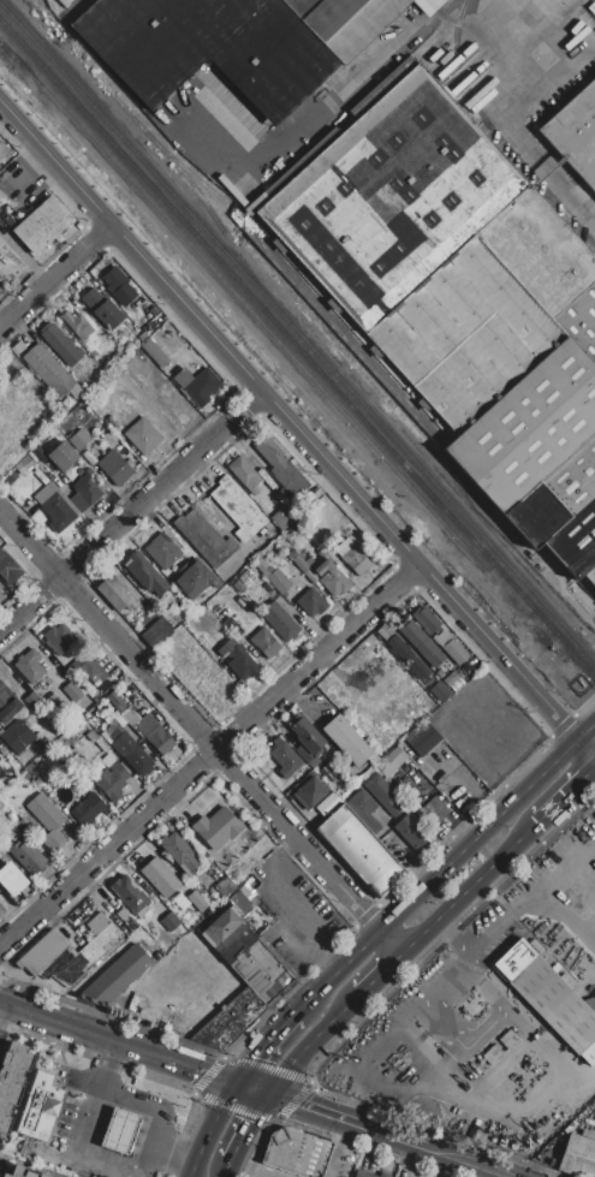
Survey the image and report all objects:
railway: (49, 20)
railway: (401, 52)
building: (245, 67)
road: (554, 82)
railway: (130, 114)
road: (512, 115)
railway: (139, 119)
building: (576, 133)
railway: (495, 135)
building: (41, 225)
road: (53, 273)
building: (114, 279)
railway: (301, 286)
building: (460, 301)
building: (103, 308)
building: (148, 315)
building: (77, 325)
railway: (298, 332)
building: (120, 338)
building: (139, 338)
railway: (275, 338)
building: (60, 344)
railway: (297, 350)
building: (154, 351)
building: (50, 371)
building: (197, 386)
building: (113, 423)
road: (297, 430)
building: (143, 436)
building: (79, 440)
building: (63, 457)
building: (47, 462)
building: (280, 466)
building: (115, 468)
building: (244, 474)
building: (83, 494)
building: (281, 497)
building: (238, 509)
road: (130, 511)
building: (58, 512)
building: (281, 518)
building: (273, 531)
building: (204, 537)
building: (163, 548)
building: (353, 557)
building: (7, 569)
building: (304, 570)
building: (145, 575)
building: (273, 576)
building: (191, 578)
building: (332, 578)
building: (238, 587)
building: (117, 594)
building: (311, 602)
building: (280, 620)
building: (232, 628)
building: (156, 634)
building: (440, 636)
building: (59, 637)
building: (264, 643)
building: (421, 643)
building: (407, 656)
building: (238, 660)
building: (29, 667)
building: (93, 670)
building: (72, 691)
building: (32, 700)
building: (8, 706)
building: (148, 730)
road: (198, 733)
building: (17, 736)
building: (305, 739)
building: (347, 741)
building: (424, 741)
building: (132, 754)
road: (207, 754)
building: (284, 757)
building: (391, 762)
building: (422, 766)
building: (433, 777)
building: (109, 781)
building: (446, 787)
road: (477, 792)
building: (309, 793)
building: (385, 796)
road: (559, 797)
building: (1, 806)
building: (325, 807)
building: (87, 809)
building: (363, 810)
building: (434, 812)
building: (47, 821)
road: (486, 825)
building: (218, 828)
building: (412, 831)
building: (361, 849)
building: (178, 851)
building: (28, 857)
building: (160, 878)
building: (11, 879)
building: (226, 887)
road: (535, 891)
road: (462, 892)
building: (130, 896)
building: (197, 900)
building: (1, 909)
building: (121, 915)
building: (194, 921)
building: (171, 922)
building: (97, 923)
building: (130, 926)
building: (220, 928)
road: (299, 928)
road: (456, 932)
building: (46, 956)
building: (87, 956)
building: (514, 959)
building: (256, 965)
road: (340, 967)
road: (376, 975)
building: (117, 976)
building: (83, 981)
building: (557, 1004)
road: (298, 1010)
road: (4, 1015)
road: (83, 1028)
road: (308, 1042)
road: (263, 1047)
traffic signals: (250, 1062)
road: (202, 1069)
road: (451, 1069)
traffic signals: (207, 1071)
building: (12, 1082)
road: (252, 1088)
road: (96, 1093)
building: (383, 1096)
traffic signals: (298, 1104)
road: (304, 1105)
building: (40, 1107)
traffic signals: (255, 1119)
road: (208, 1127)
road: (249, 1127)
building: (121, 1131)
road: (156, 1137)
road: (177, 1146)
road: (420, 1147)
road: (337, 1148)
building: (297, 1153)
building: (577, 1155)
road: (226, 1169)
road: (252, 1169)
building: (22, 1172)
building: (363, 1175)
building: (383, 1175)
building: (6, 1176)
building: (44, 1176)

